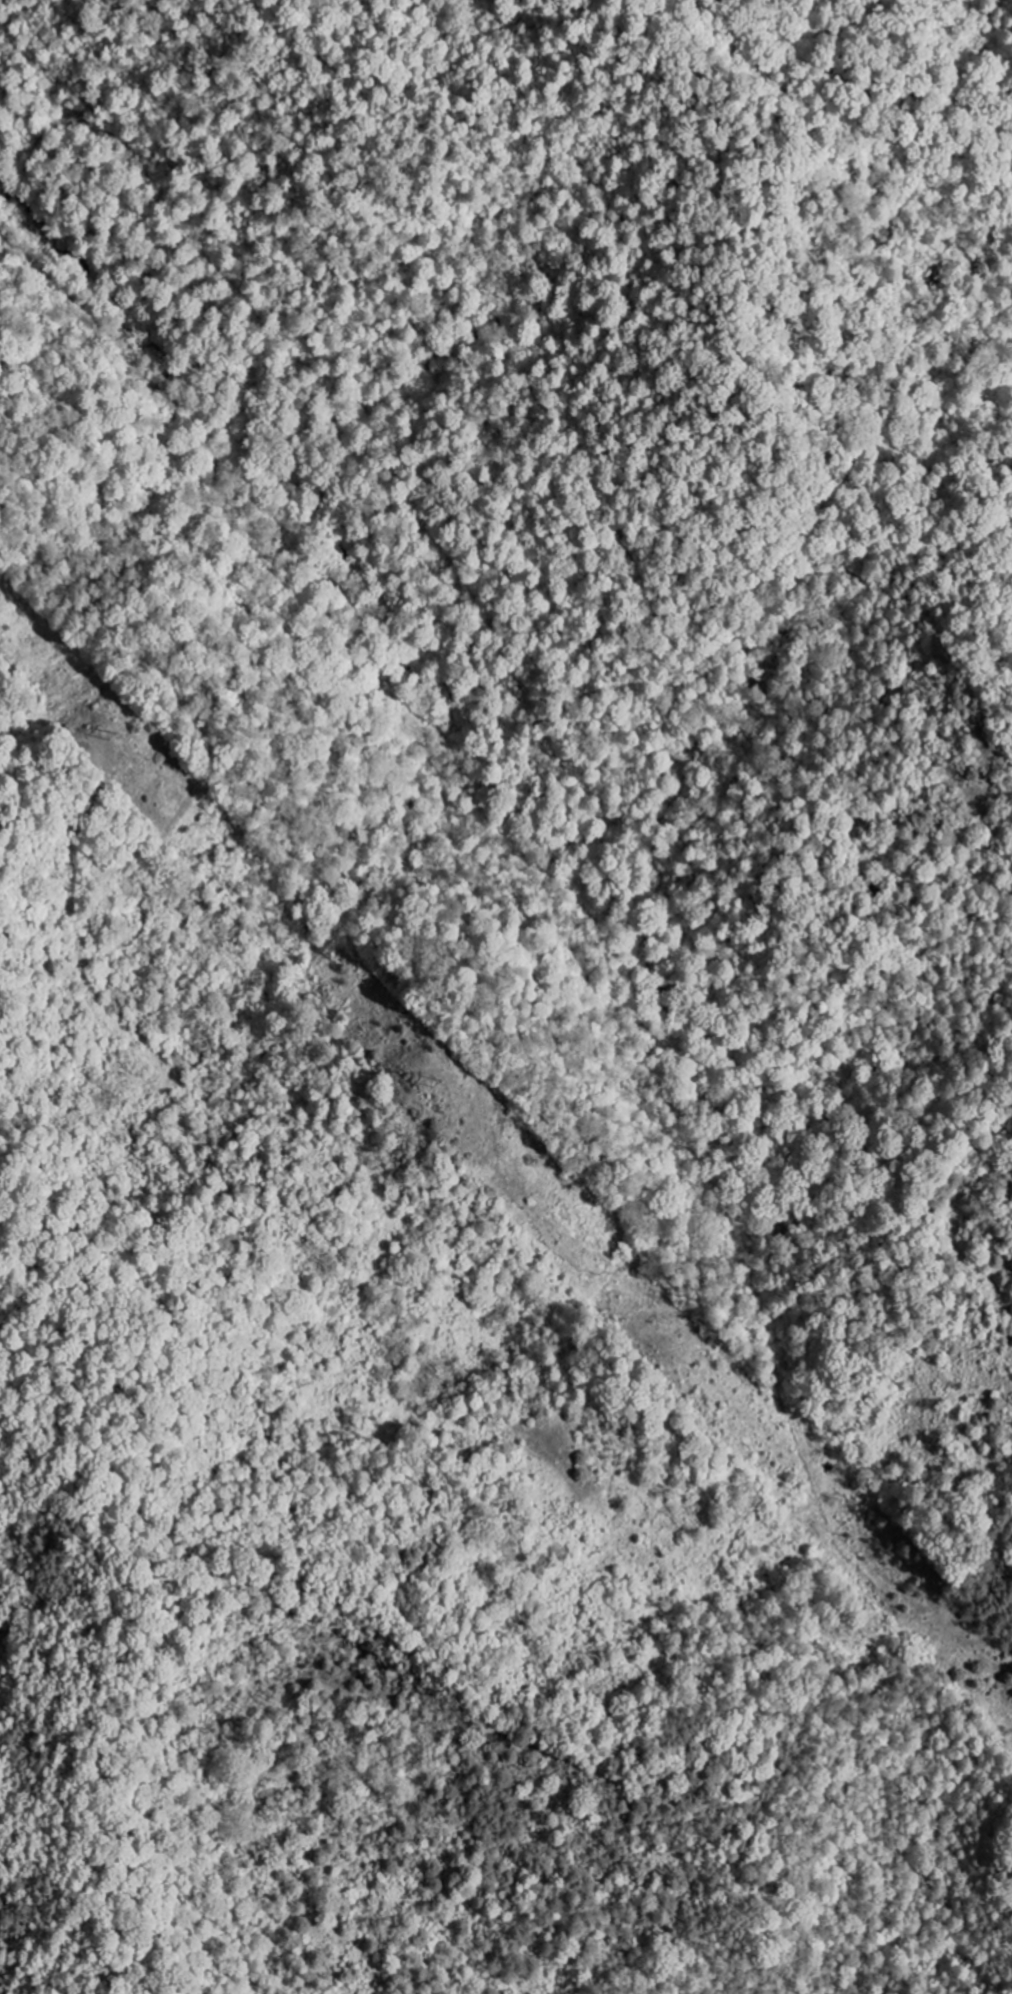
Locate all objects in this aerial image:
power tower: (129, 739)
power tower: (464, 1087)

